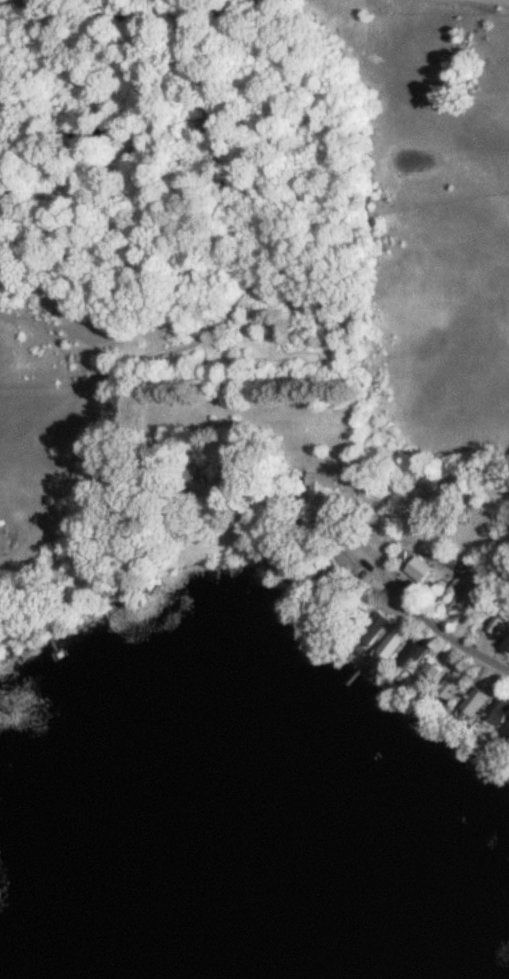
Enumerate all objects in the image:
building: (351, 470)
building: (241, 481)
building: (331, 483)
building: (421, 571)
road: (413, 607)
building: (380, 628)
building: (506, 646)
building: (397, 647)
building: (412, 659)

